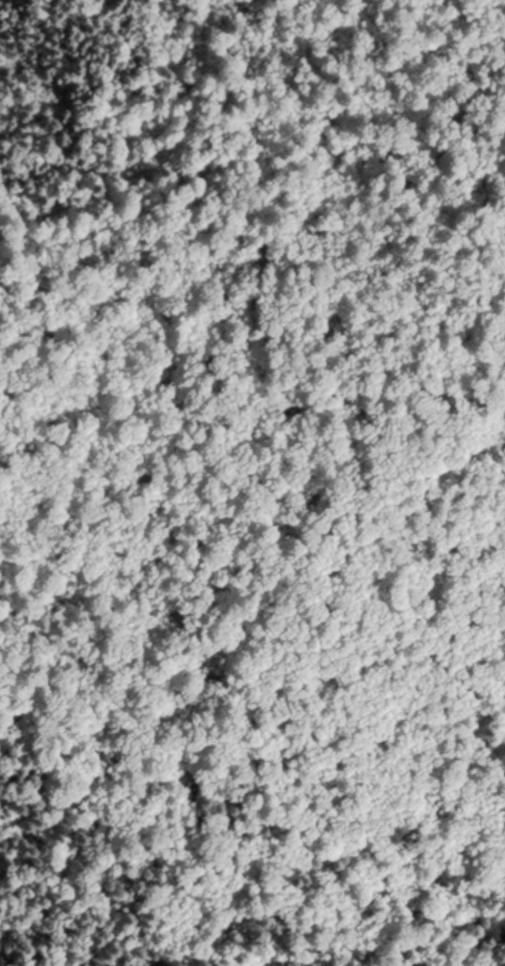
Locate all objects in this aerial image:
road: (254, 205)

